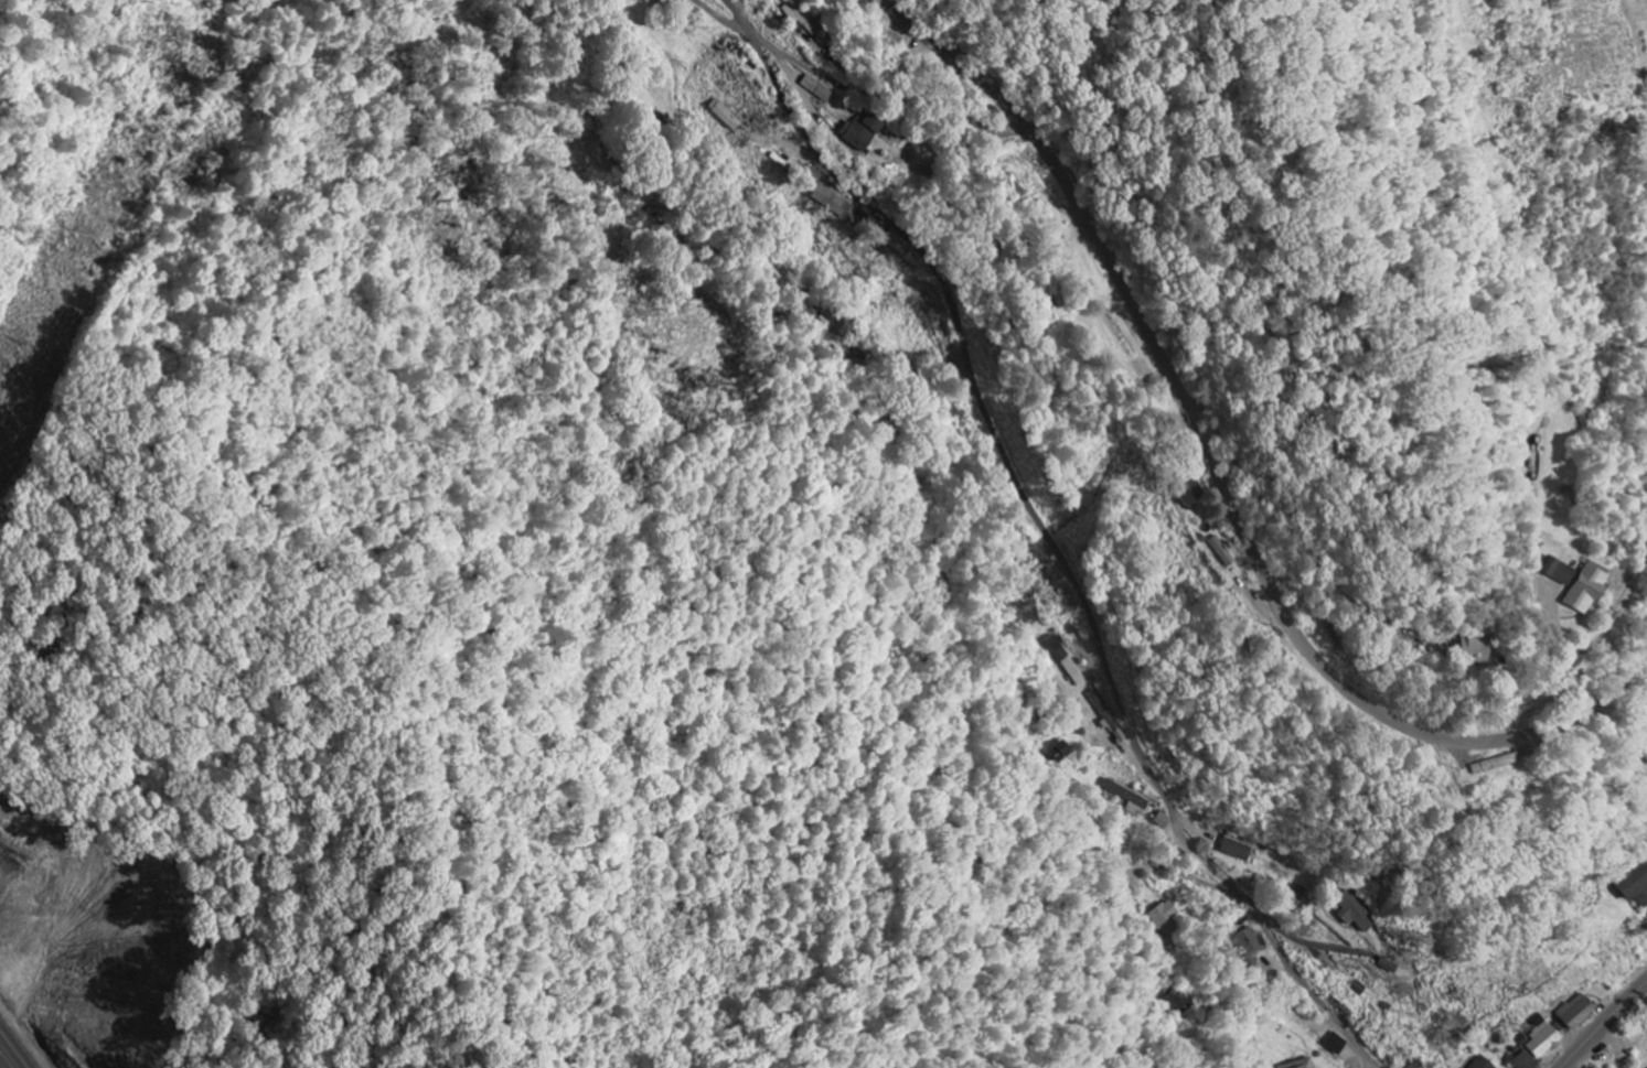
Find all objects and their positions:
building: (796, 11)
road: (724, 19)
building: (965, 91)
road: (888, 96)
building: (724, 116)
building: (860, 132)
building: (830, 203)
road: (1212, 477)
building: (1186, 495)
road: (1277, 510)
road: (1049, 535)
building: (1221, 552)
building: (1576, 585)
building: (1475, 649)
building: (1058, 753)
building: (1127, 799)
building: (1237, 851)
building: (1634, 887)
building: (1354, 913)
building: (1167, 920)
building: (1247, 945)
road: (1325, 950)
building: (1576, 1013)
road: (1603, 1024)
building: (1543, 1043)
building: (1336, 1045)
building: (1523, 1061)
building: (1480, 1064)
building: (1301, 1065)
building: (1419, 1066)

